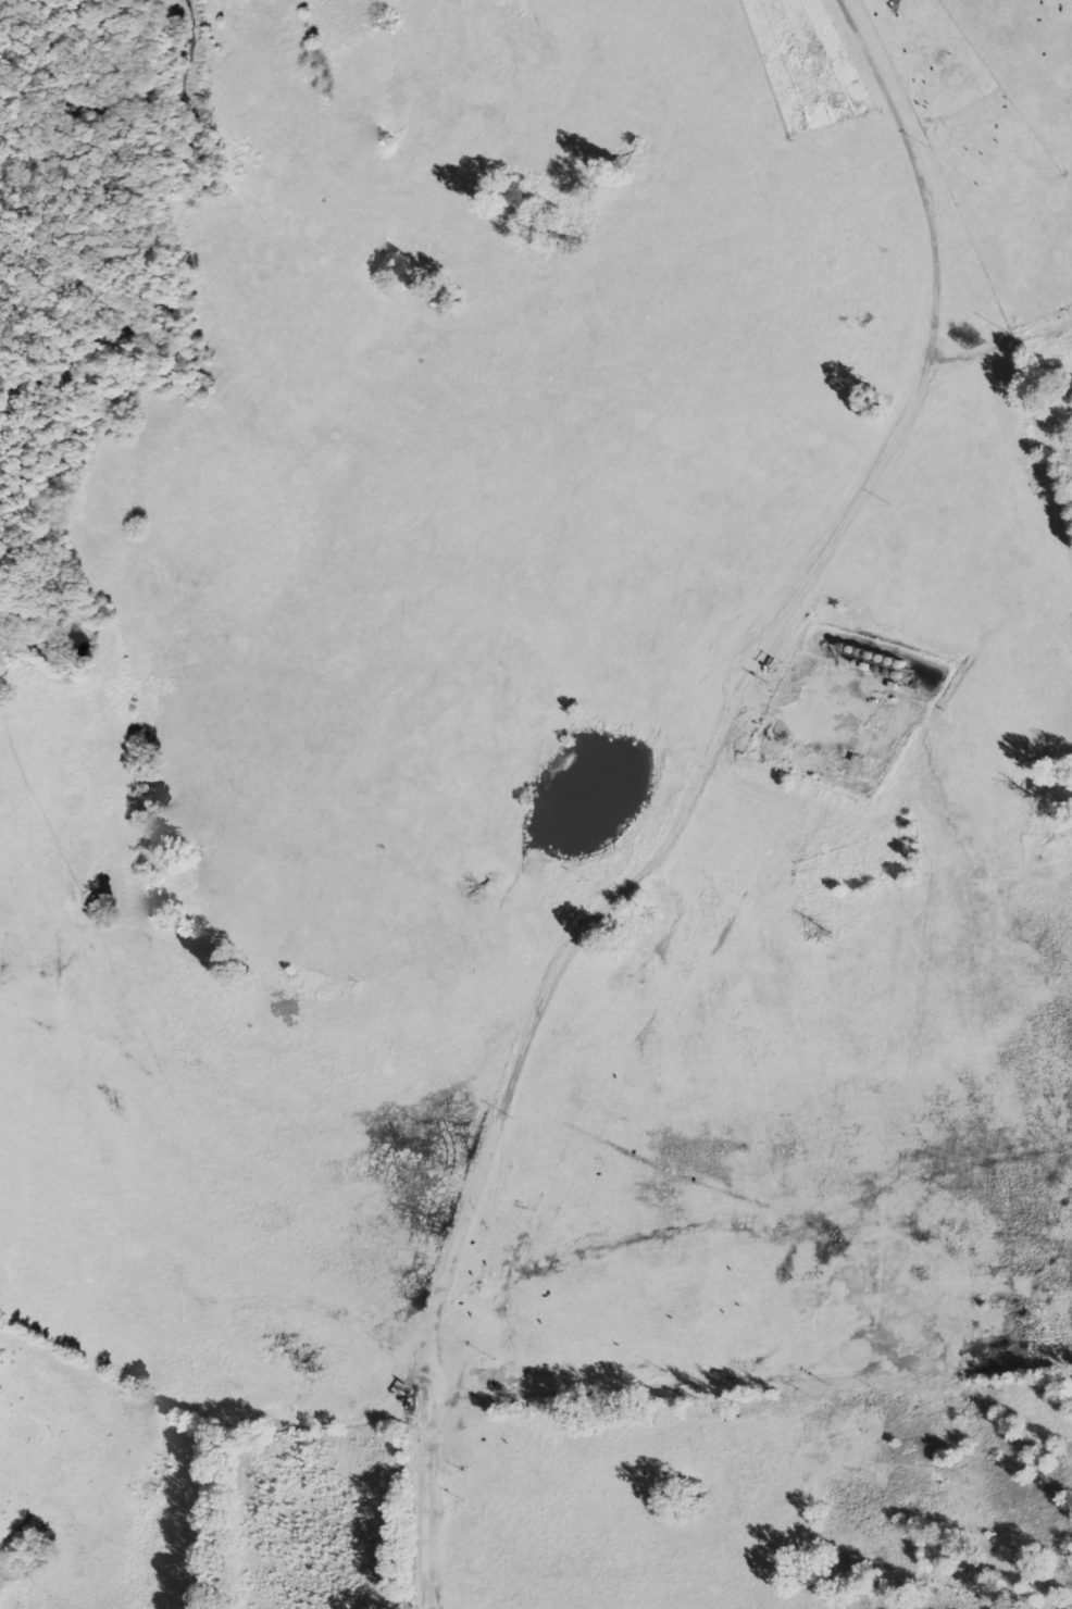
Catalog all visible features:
road: (874, 510)

